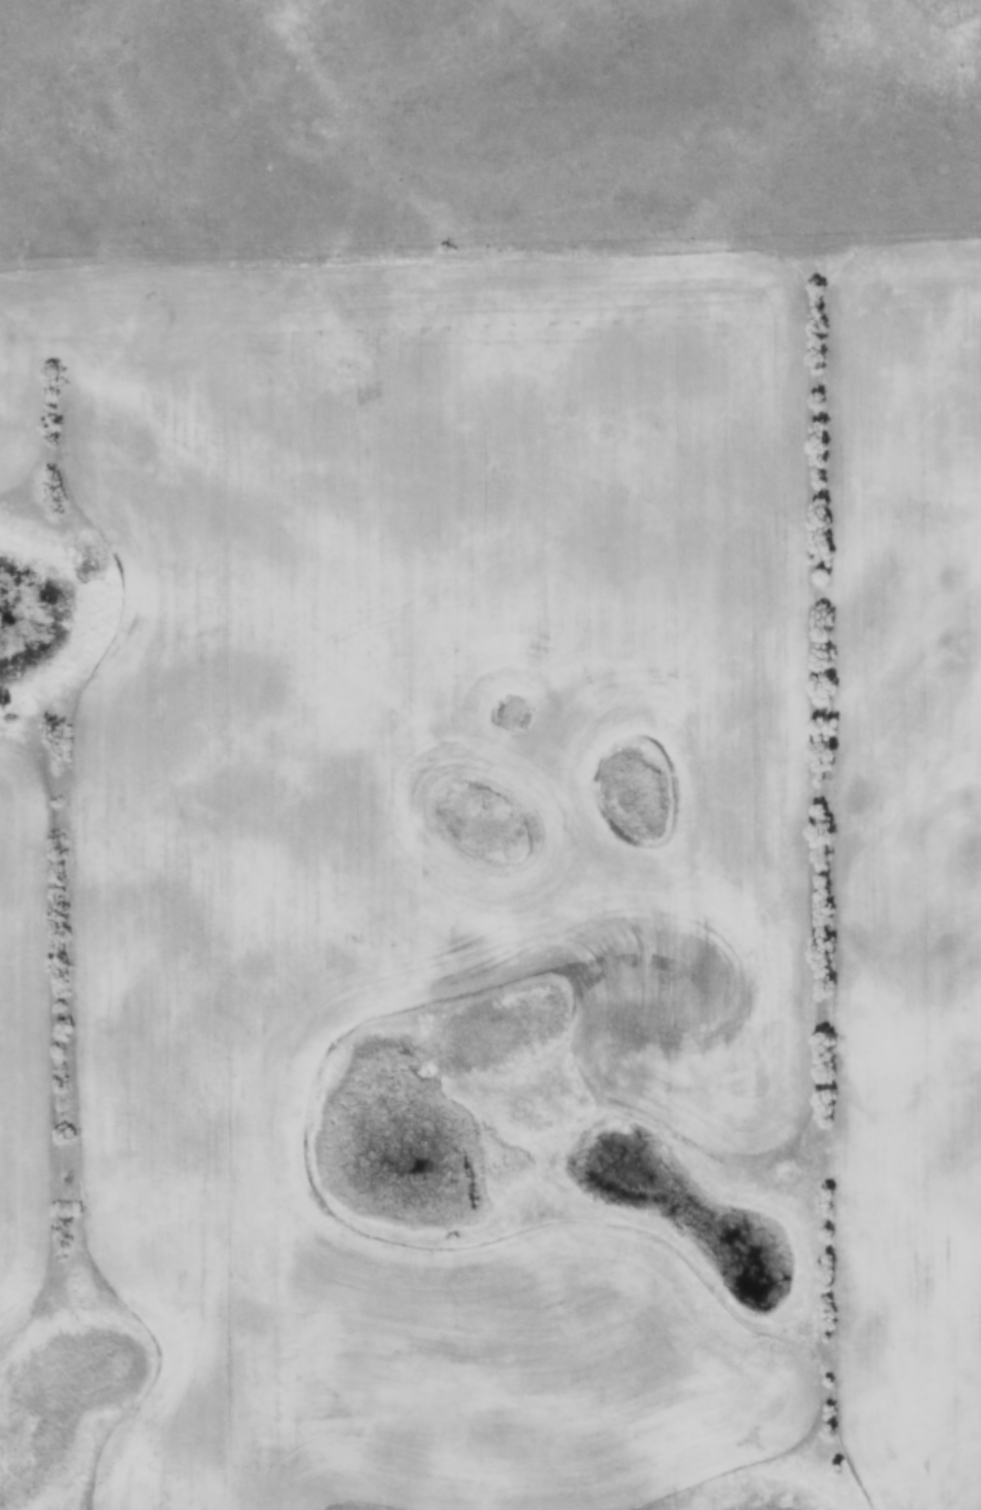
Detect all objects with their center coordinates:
road: (490, 249)

